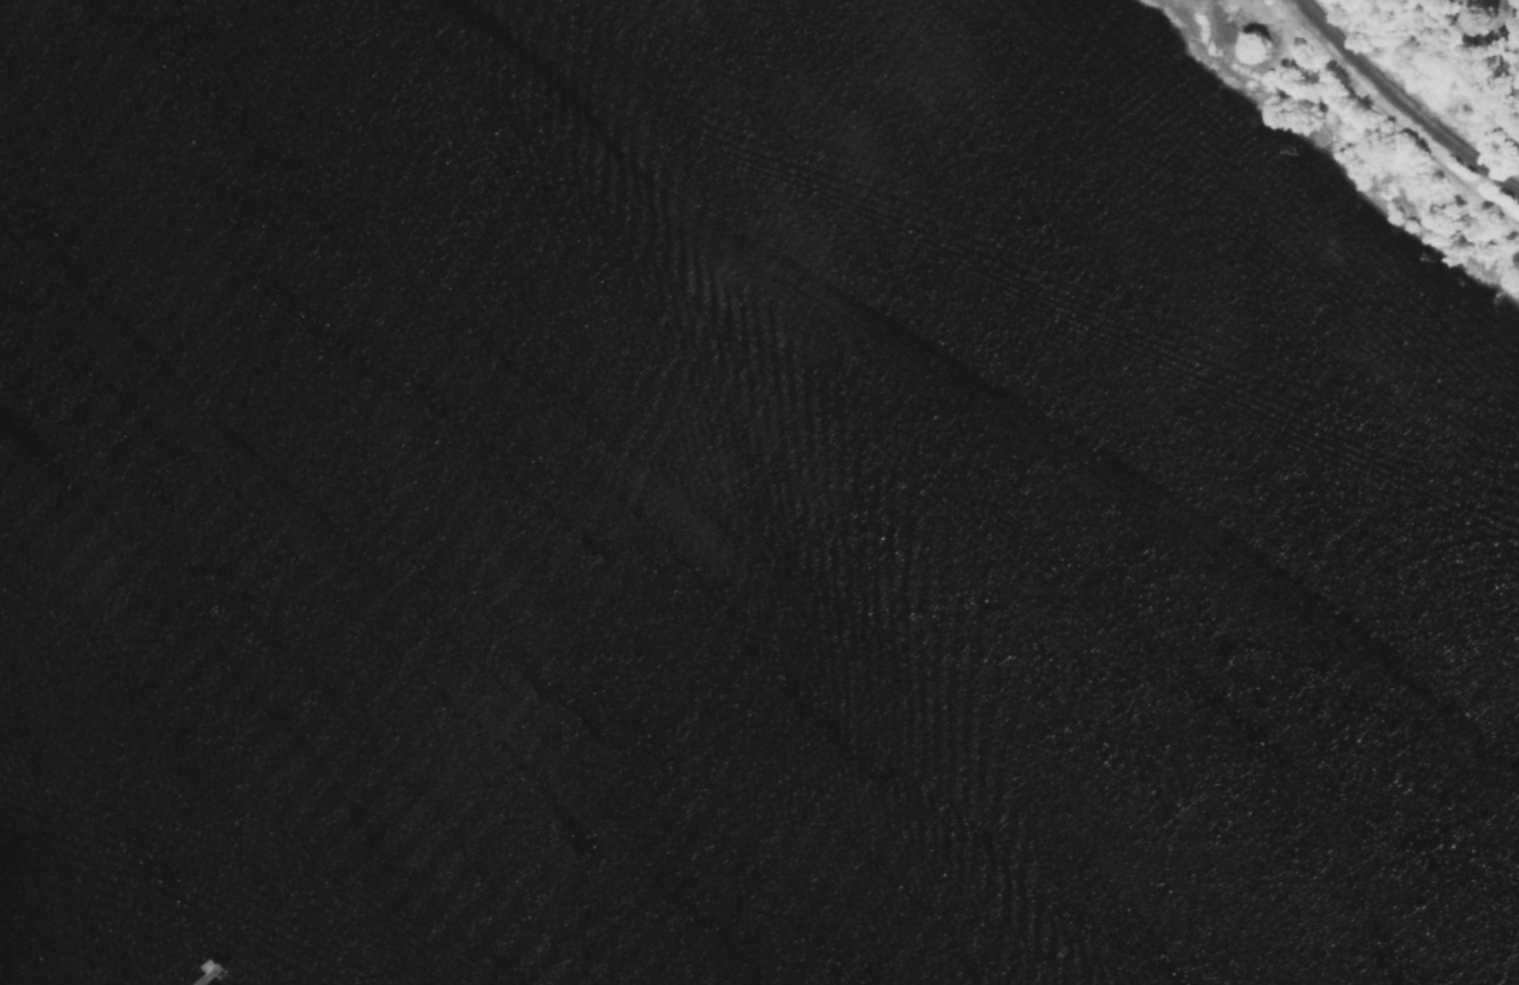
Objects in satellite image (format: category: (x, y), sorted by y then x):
building: (1515, 10)
railway: (1405, 101)
road: (1395, 118)
river: (644, 492)
pier: (213, 972)

